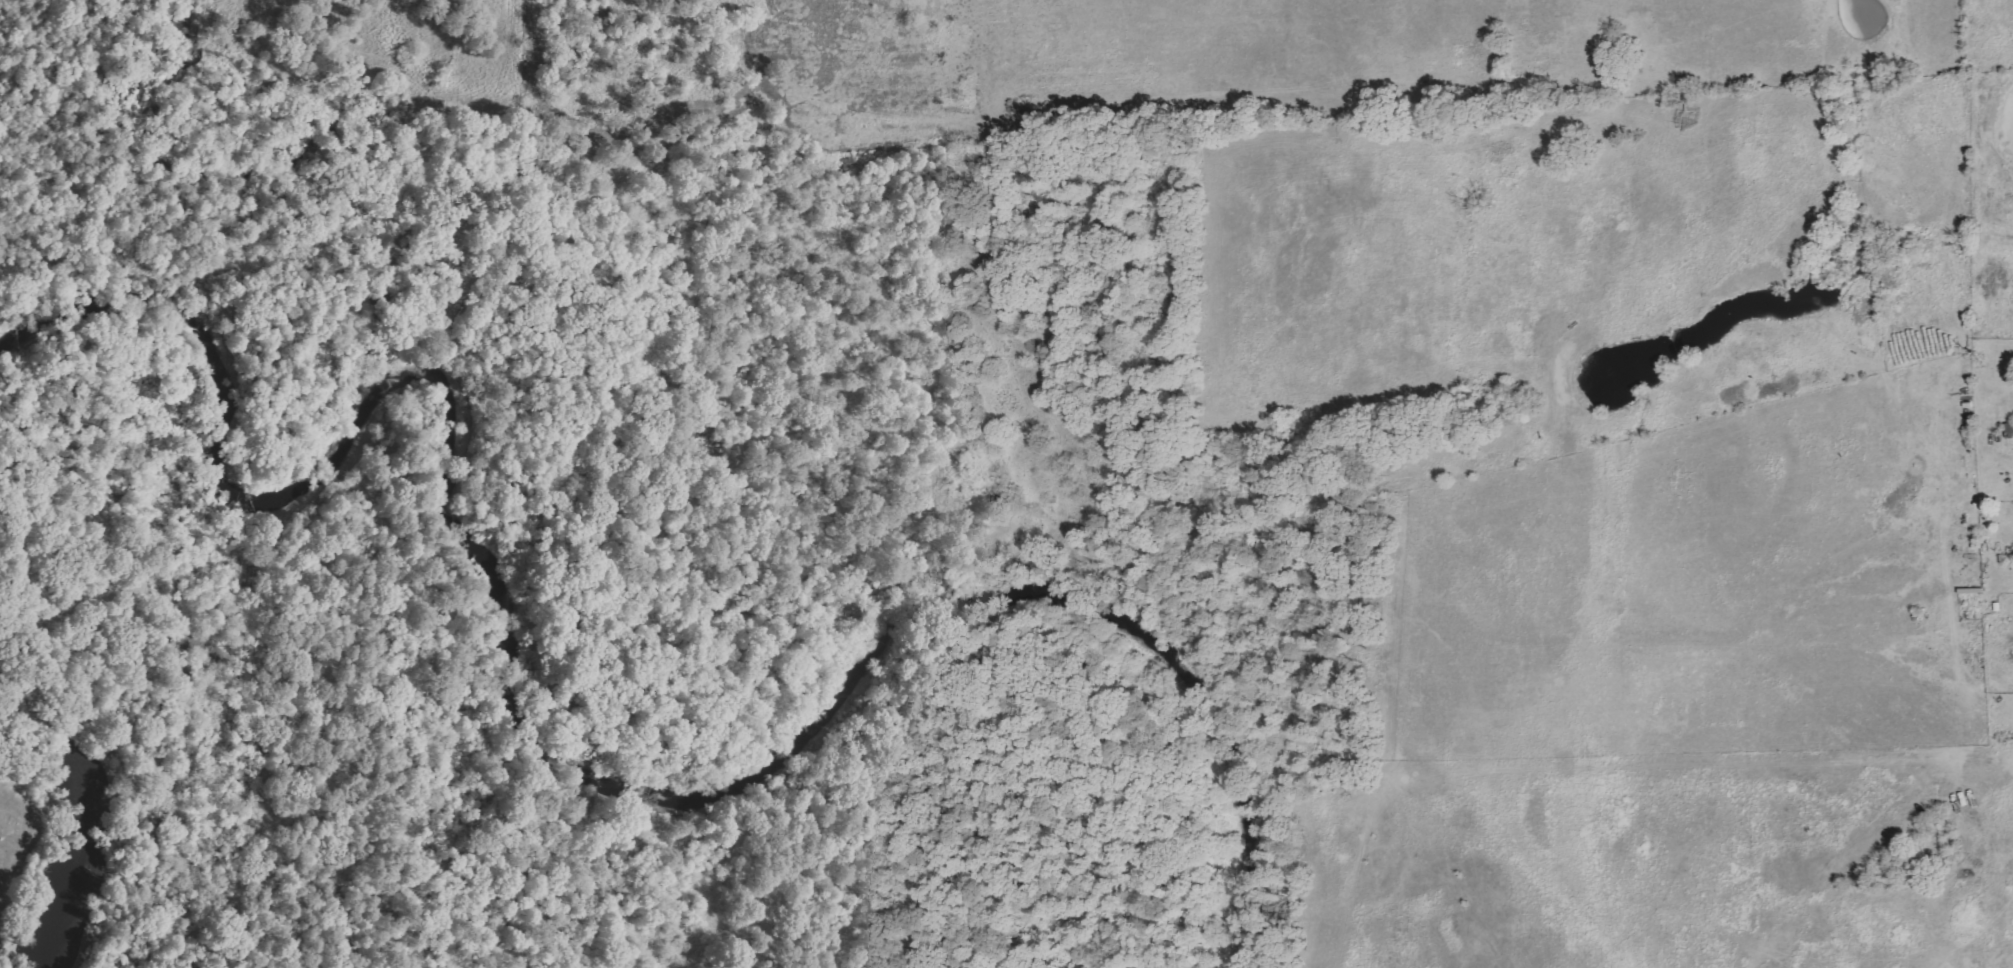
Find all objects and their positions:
river: (547, 737)

